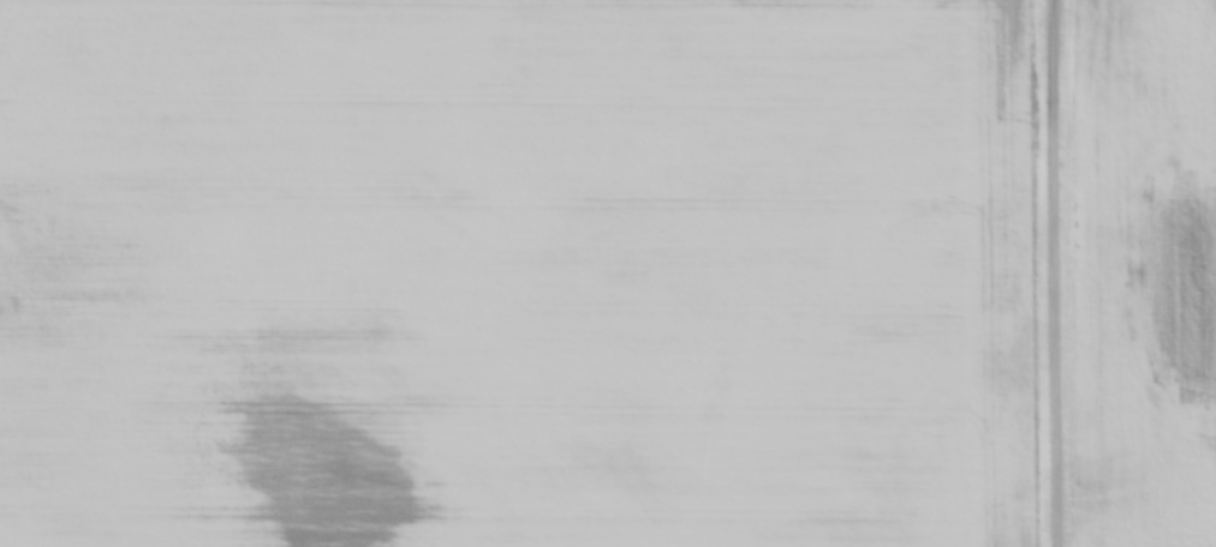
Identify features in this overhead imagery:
road: (1055, 273)

